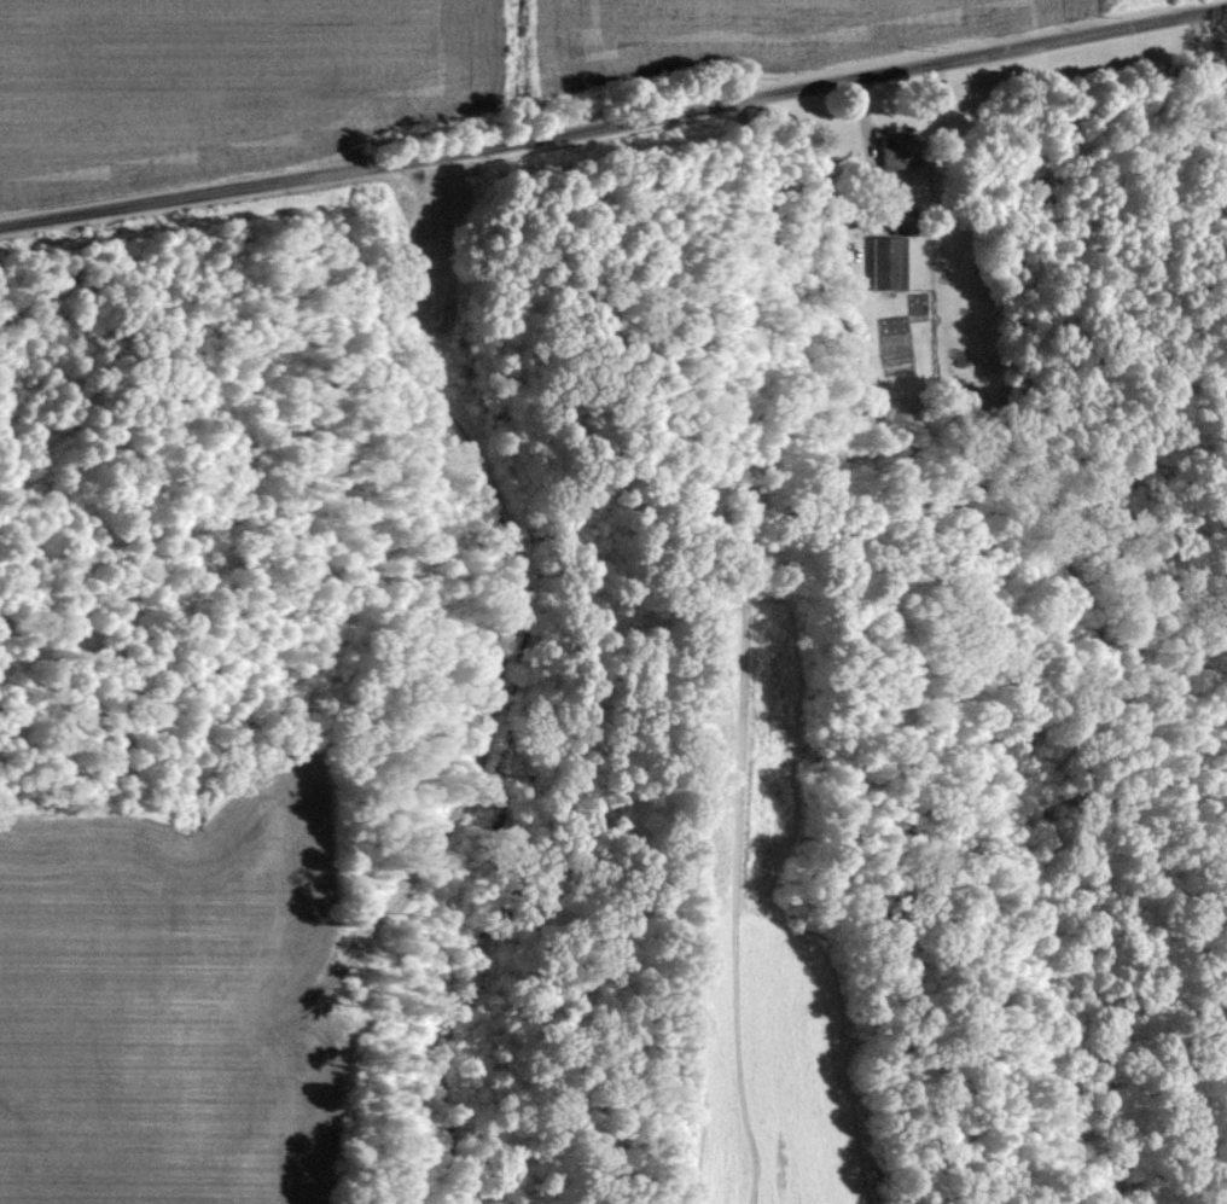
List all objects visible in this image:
helipad: (857, 4)
road: (613, 115)
road: (879, 141)
building: (899, 149)
building: (891, 257)
building: (961, 292)

